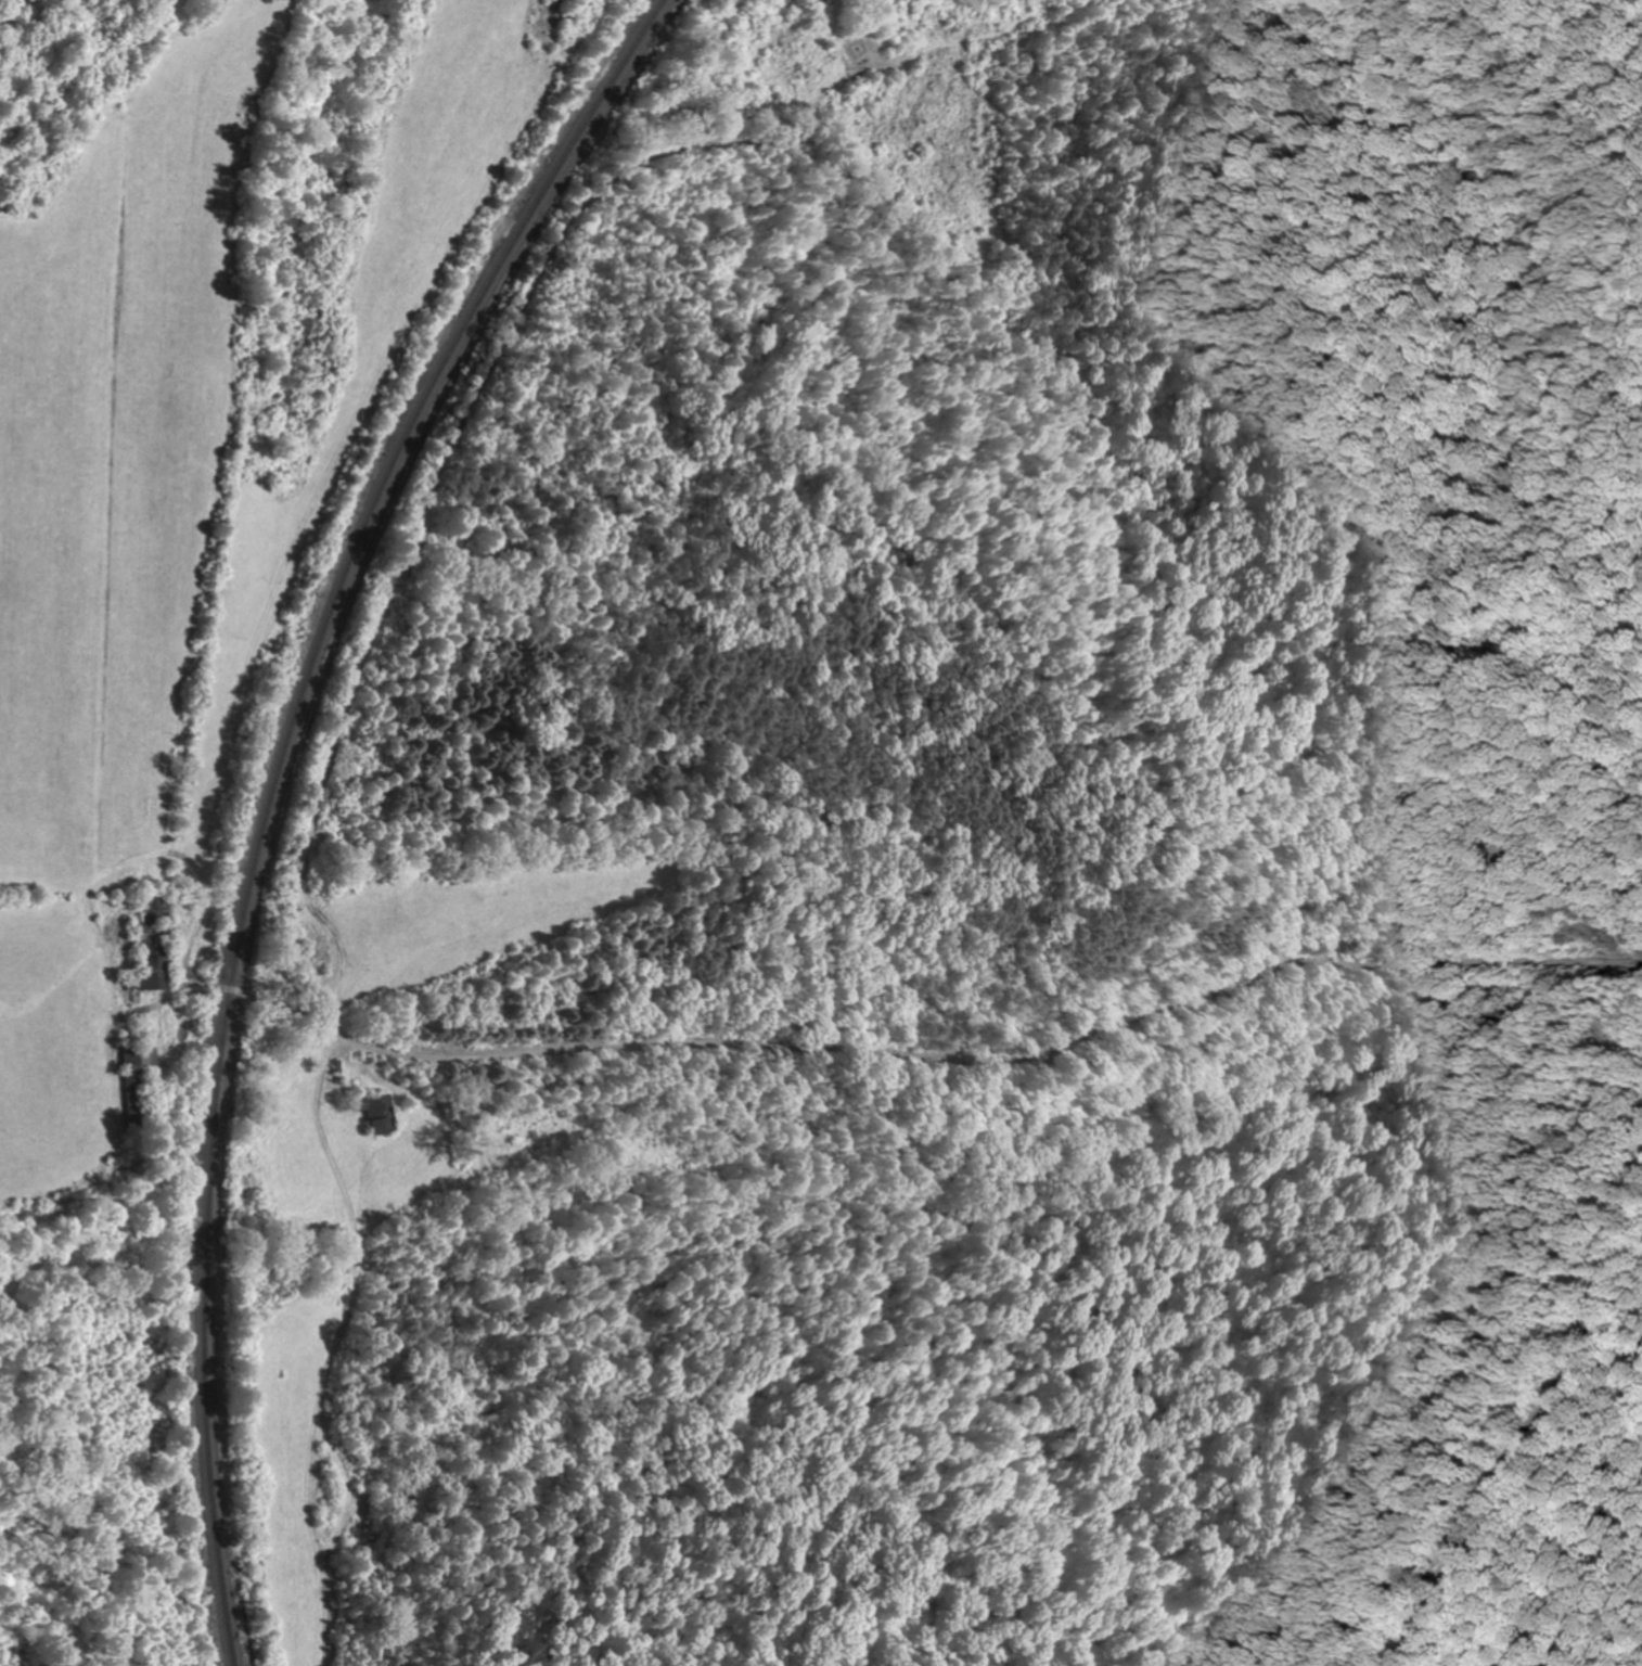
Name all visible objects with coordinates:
railway: (275, 791)
building: (153, 941)
road: (810, 992)
building: (136, 1059)
building: (379, 1112)

